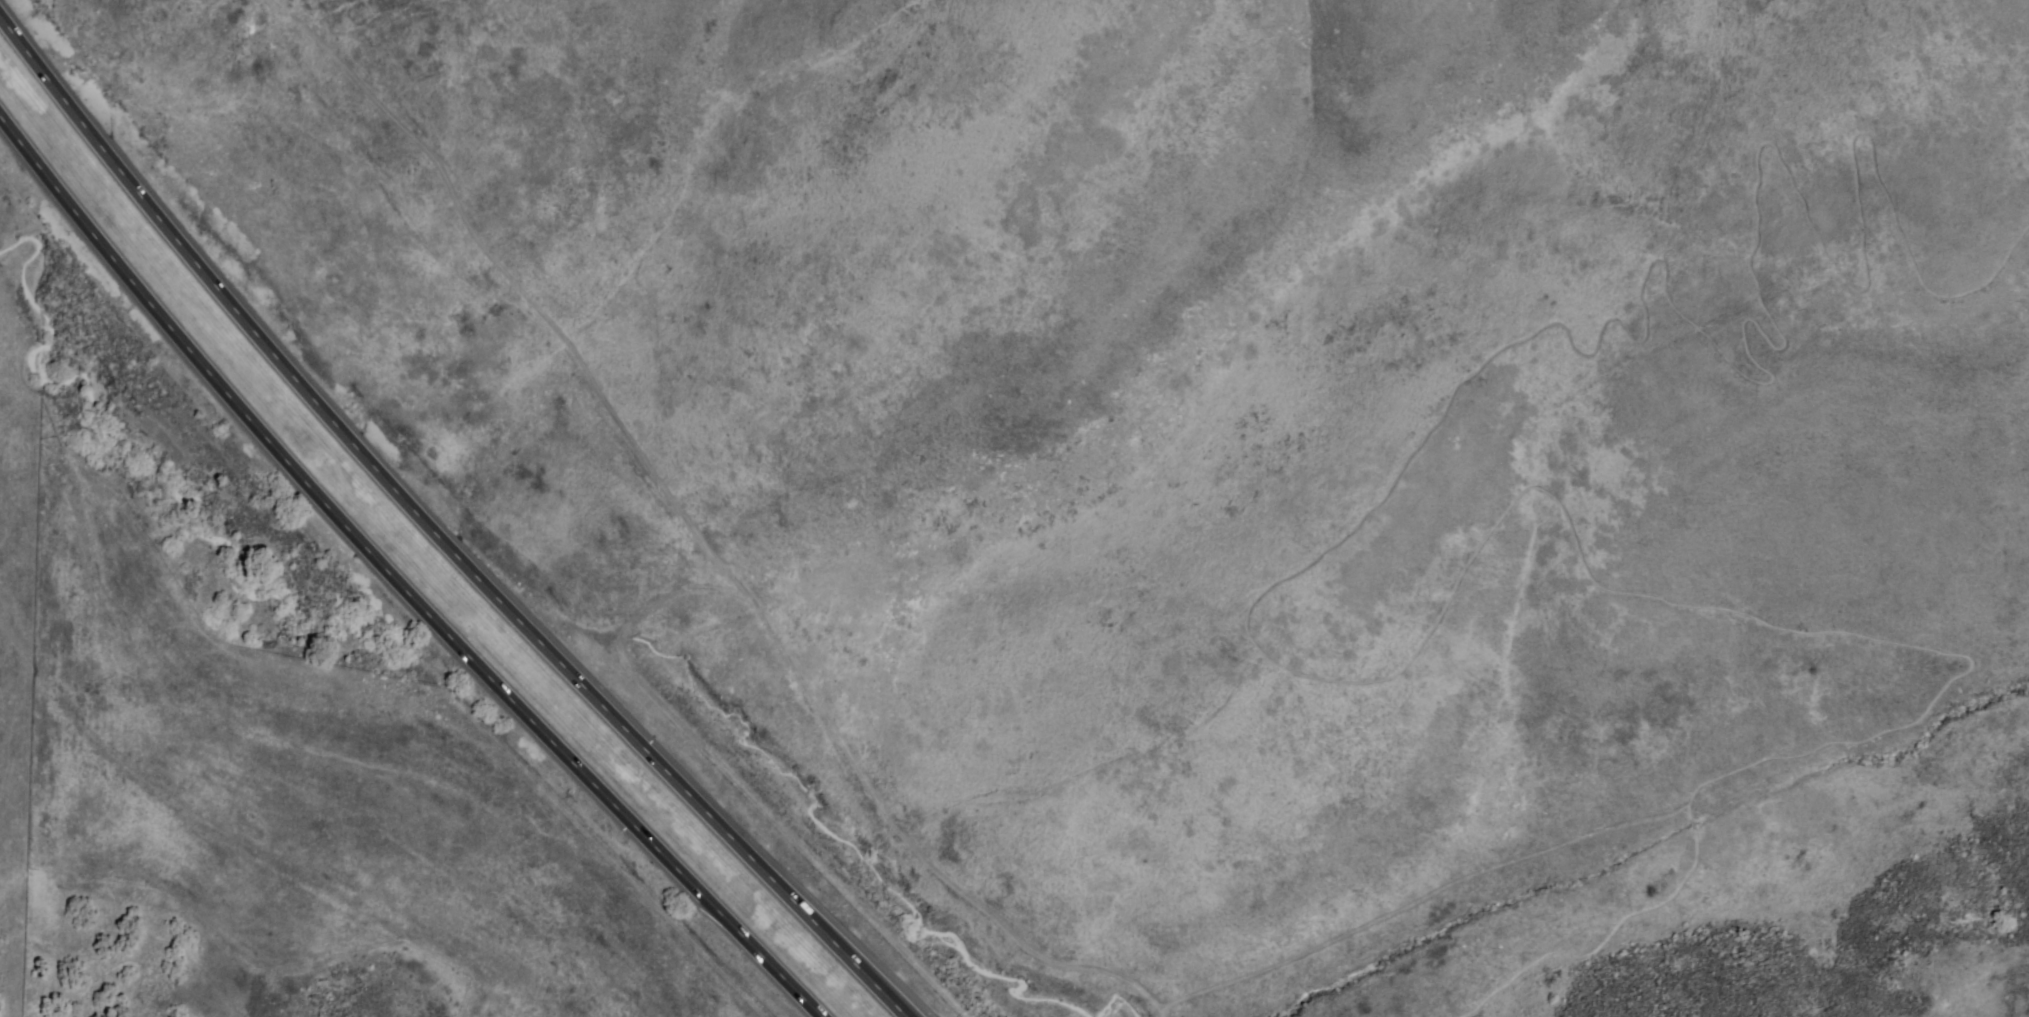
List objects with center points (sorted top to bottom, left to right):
road: (436, 534)
road: (395, 580)
road: (264, 845)

